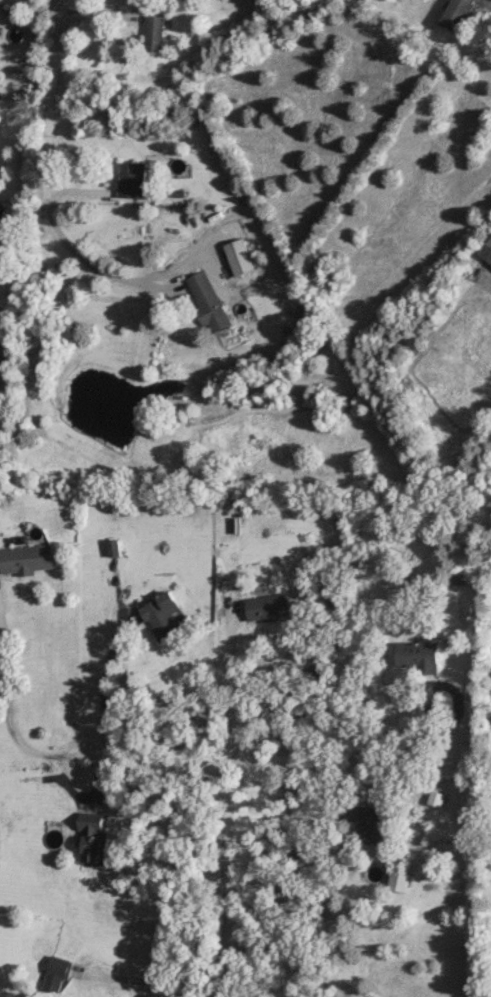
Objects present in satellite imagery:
building: (451, 14)
building: (152, 33)
road: (44, 176)
building: (131, 180)
building: (2, 222)
building: (486, 253)
building: (238, 257)
building: (206, 300)
building: (26, 559)
building: (455, 577)
building: (264, 606)
building: (157, 614)
building: (414, 654)
road: (101, 688)
road: (235, 689)
road: (12, 730)
road: (401, 752)
road: (212, 764)
building: (370, 822)
building: (88, 837)
building: (395, 880)
road: (229, 881)
road: (300, 962)
building: (53, 973)
road: (152, 982)

